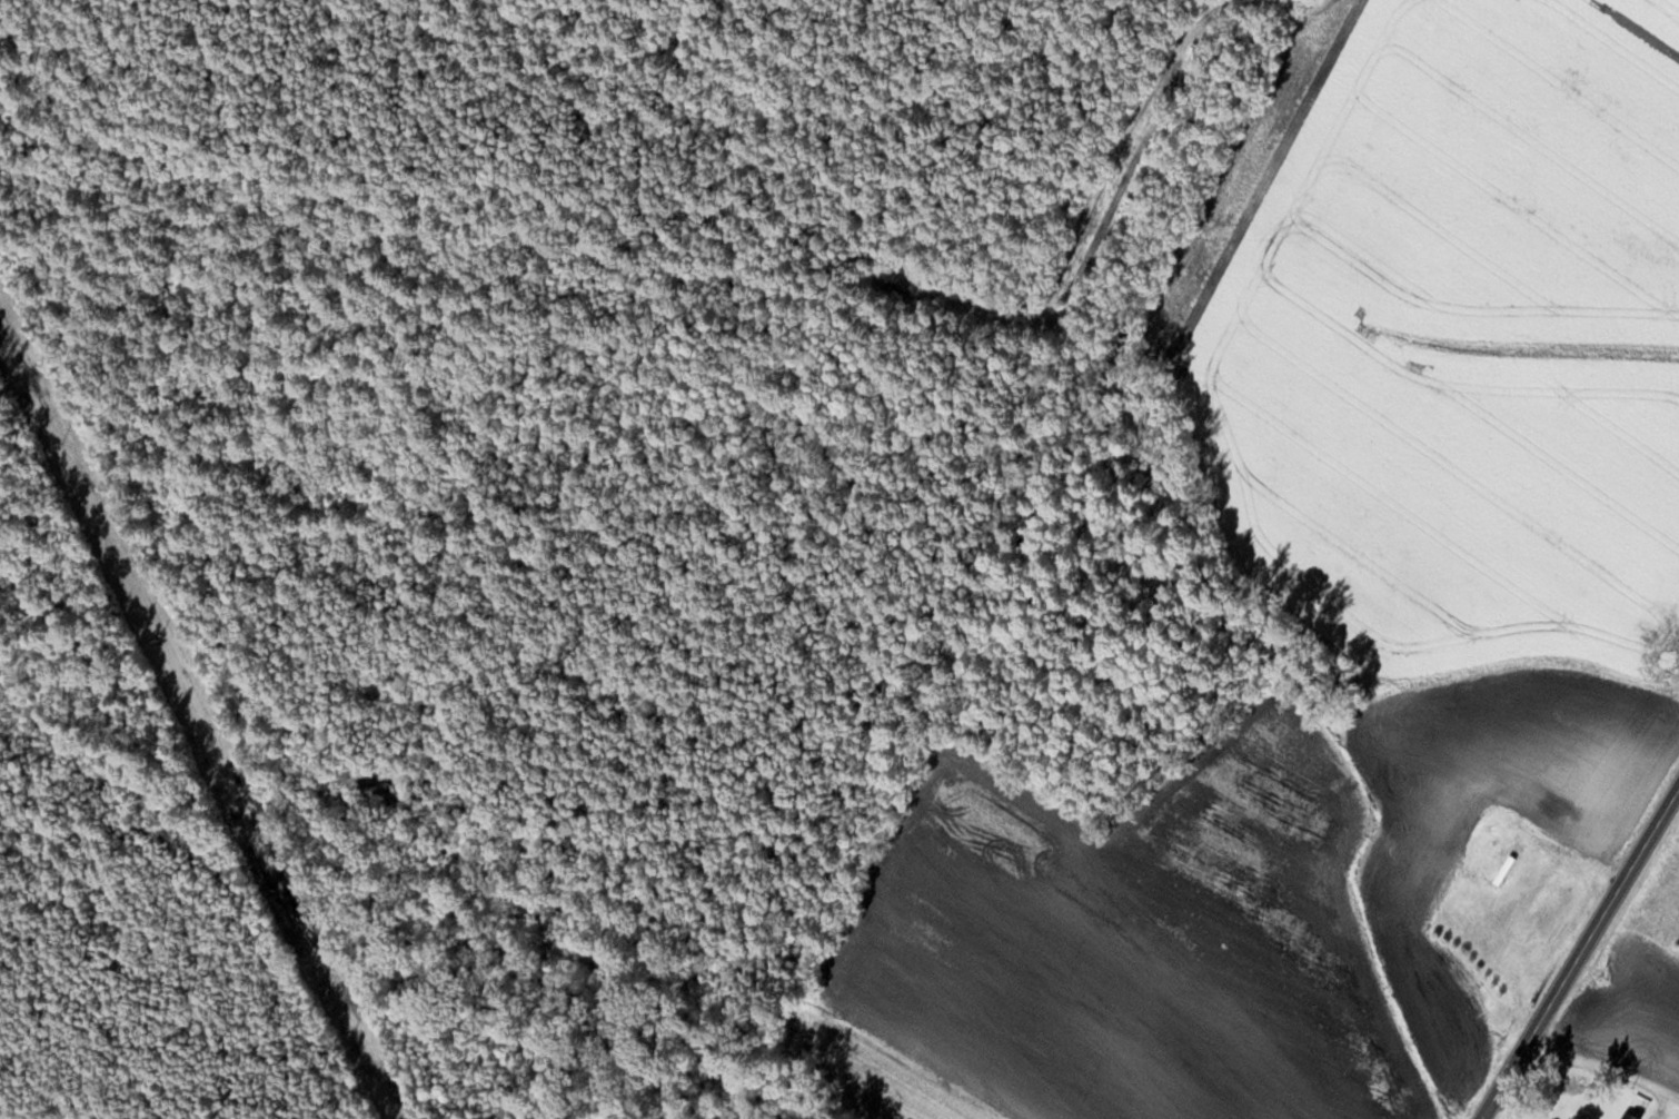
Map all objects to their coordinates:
road: (1578, 952)
road: (1603, 1066)
building: (1628, 1115)

